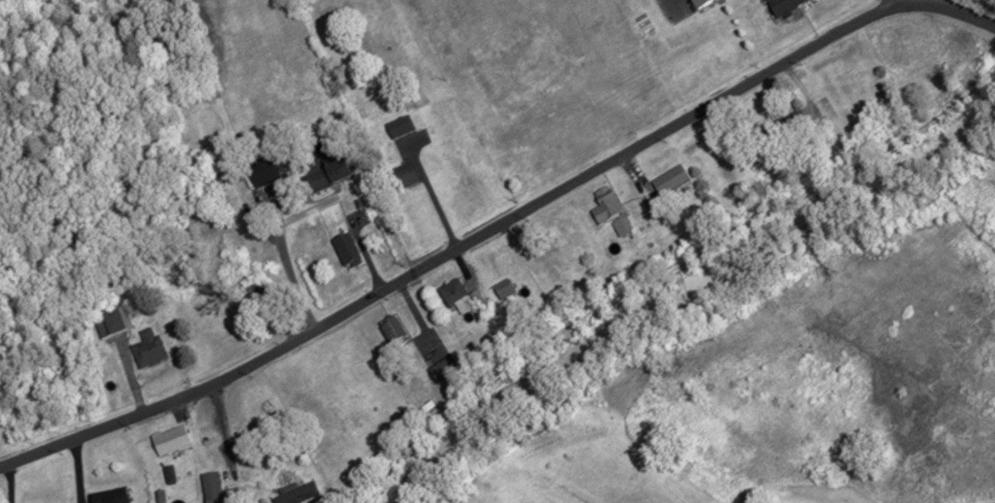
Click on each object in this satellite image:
building: (700, 2)
building: (781, 5)
road: (963, 13)
building: (398, 126)
building: (779, 130)
building: (401, 175)
building: (322, 176)
building: (668, 178)
building: (603, 203)
building: (620, 224)
building: (346, 249)
road: (458, 249)
building: (500, 259)
road: (669, 271)
building: (504, 289)
building: (458, 297)
building: (112, 321)
building: (391, 329)
building: (146, 347)
building: (442, 369)
building: (168, 439)
building: (219, 490)
building: (296, 494)
building: (106, 496)
building: (47, 502)

